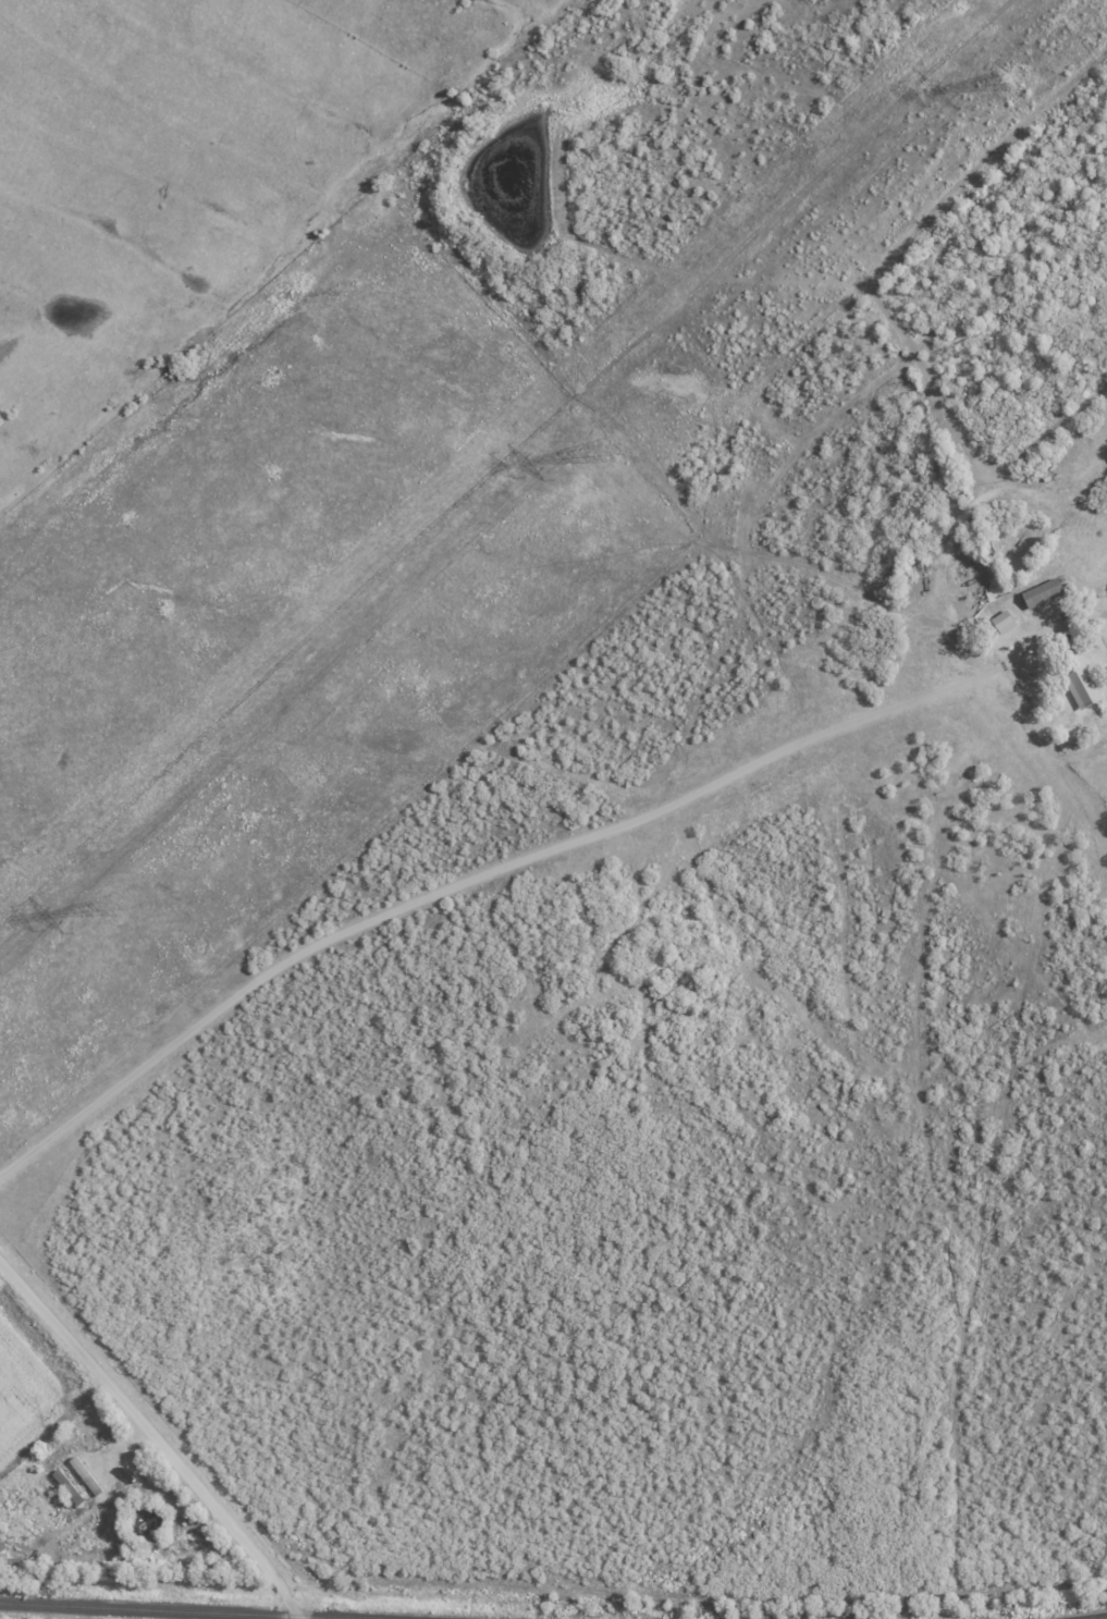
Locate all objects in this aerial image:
power tower: (1012, 78)
power tower: (602, 450)
building: (1042, 592)
building: (1081, 686)
road: (476, 874)
power tower: (110, 907)
road: (155, 1436)
railway: (183, 1610)
railway: (1097, 1617)

